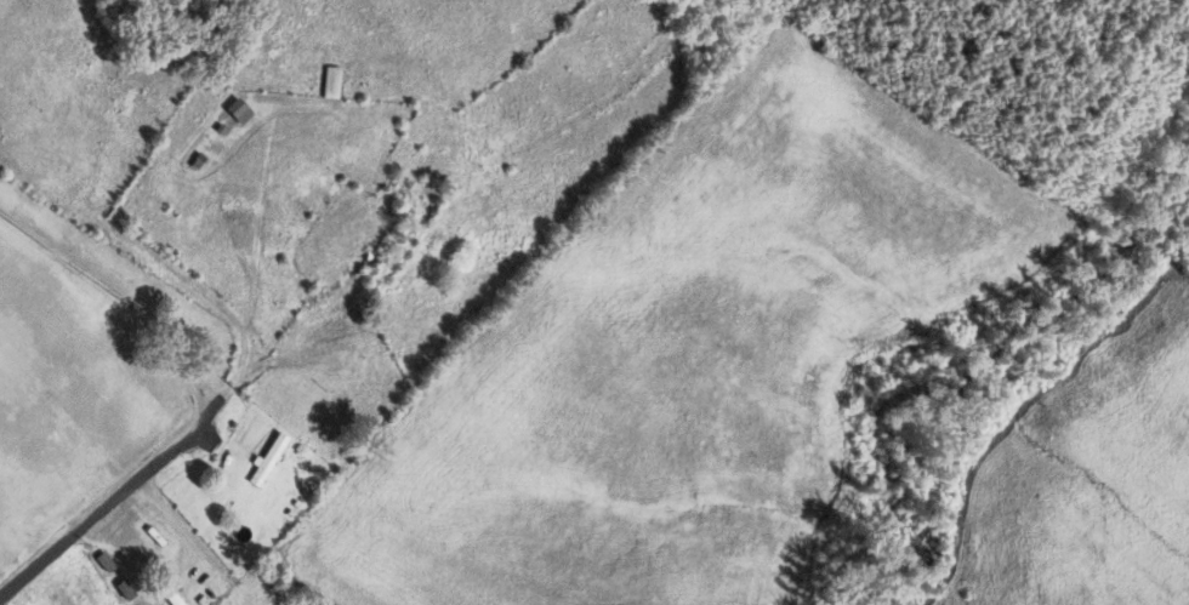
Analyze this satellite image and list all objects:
building: (330, 82)
building: (238, 110)
road: (120, 299)
building: (267, 460)
road: (114, 498)
building: (248, 533)
building: (148, 546)
building: (104, 561)
building: (214, 584)
building: (125, 589)

